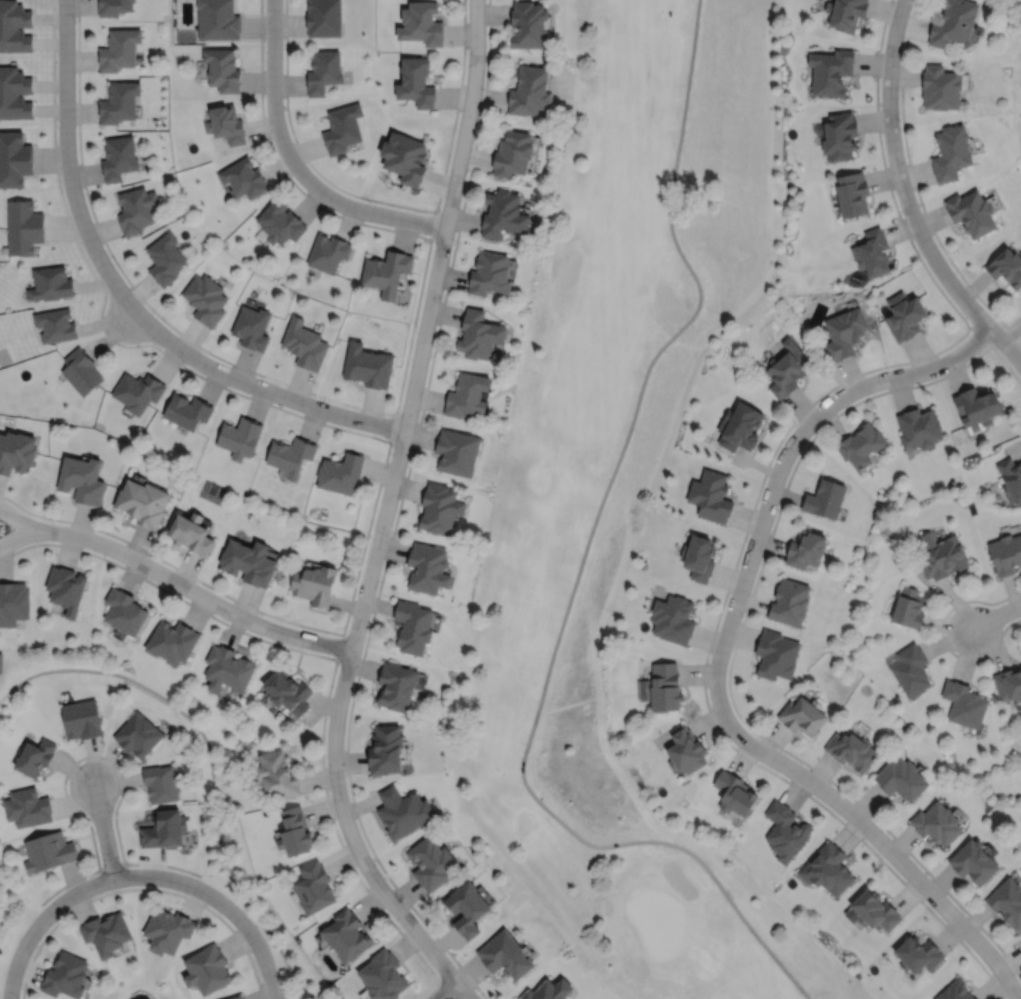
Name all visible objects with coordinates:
building: (114, 7)
building: (845, 14)
building: (322, 18)
building: (218, 20)
building: (420, 24)
building: (953, 24)
building: (528, 26)
building: (15, 27)
building: (119, 47)
building: (223, 67)
building: (829, 72)
building: (322, 73)
building: (415, 84)
building: (940, 85)
building: (529, 88)
building: (15, 91)
park: (1016, 93)
building: (119, 100)
building: (226, 122)
building: (341, 129)
building: (840, 134)
road: (66, 148)
building: (950, 150)
building: (512, 151)
building: (119, 156)
building: (15, 157)
building: (402, 159)
road: (294, 164)
building: (244, 177)
road: (915, 187)
building: (852, 192)
road: (906, 198)
road: (389, 202)
building: (136, 207)
building: (971, 210)
building: (503, 212)
building: (280, 221)
building: (24, 225)
road: (432, 225)
building: (329, 251)
building: (872, 251)
building: (165, 257)
building: (1006, 266)
building: (388, 271)
building: (489, 272)
building: (50, 282)
building: (206, 298)
building: (905, 315)
building: (55, 324)
building: (252, 326)
building: (844, 331)
building: (478, 333)
road: (979, 333)
building: (305, 343)
building: (497, 356)
building: (369, 365)
building: (787, 368)
building: (81, 370)
road: (247, 382)
building: (137, 391)
building: (466, 395)
building: (976, 404)
road: (358, 406)
building: (187, 410)
building: (739, 426)
building: (918, 427)
road: (392, 428)
road: (349, 430)
building: (240, 436)
building: (860, 444)
building: (16, 451)
building: (456, 451)
building: (291, 454)
building: (341, 472)
building: (82, 479)
building: (1011, 479)
building: (710, 495)
park: (624, 497)
road: (756, 497)
building: (824, 498)
building: (143, 502)
road: (385, 507)
building: (440, 508)
road: (16, 519)
road: (395, 519)
building: (192, 533)
road: (16, 536)
building: (804, 549)
building: (1005, 554)
building: (941, 556)
building: (698, 558)
building: (248, 562)
building: (429, 568)
road: (578, 568)
building: (316, 585)
building: (66, 589)
road: (191, 589)
building: (788, 602)
building: (13, 603)
building: (908, 608)
building: (125, 612)
road: (995, 616)
building: (672, 619)
building: (414, 627)
road: (942, 636)
road: (736, 638)
building: (172, 642)
road: (339, 646)
building: (776, 655)
road: (328, 656)
building: (0, 662)
road: (716, 662)
building: (228, 669)
building: (911, 671)
building: (662, 685)
building: (1009, 685)
building: (397, 687)
building: (288, 692)
building: (965, 705)
building: (803, 717)
building: (81, 719)
building: (138, 735)
building: (683, 747)
building: (386, 751)
building: (851, 751)
road: (90, 755)
building: (34, 758)
road: (210, 763)
building: (274, 772)
building: (902, 781)
building: (160, 784)
building: (733, 791)
building: (26, 805)
building: (400, 809)
building: (934, 821)
road: (103, 830)
building: (292, 830)
building: (783, 830)
building: (164, 831)
building: (46, 849)
building: (971, 859)
building: (429, 860)
road: (110, 866)
building: (826, 867)
building: (312, 885)
road: (141, 888)
building: (1006, 900)
road: (220, 901)
building: (464, 906)
building: (871, 909)
road: (40, 921)
building: (166, 928)
building: (104, 931)
building: (344, 933)
building: (917, 952)
building: (503, 953)
building: (206, 967)
building: (64, 974)
building: (381, 974)
road: (444, 985)
building: (546, 989)
road: (445, 990)
road: (463, 990)
building: (955, 990)
building: (235, 996)

